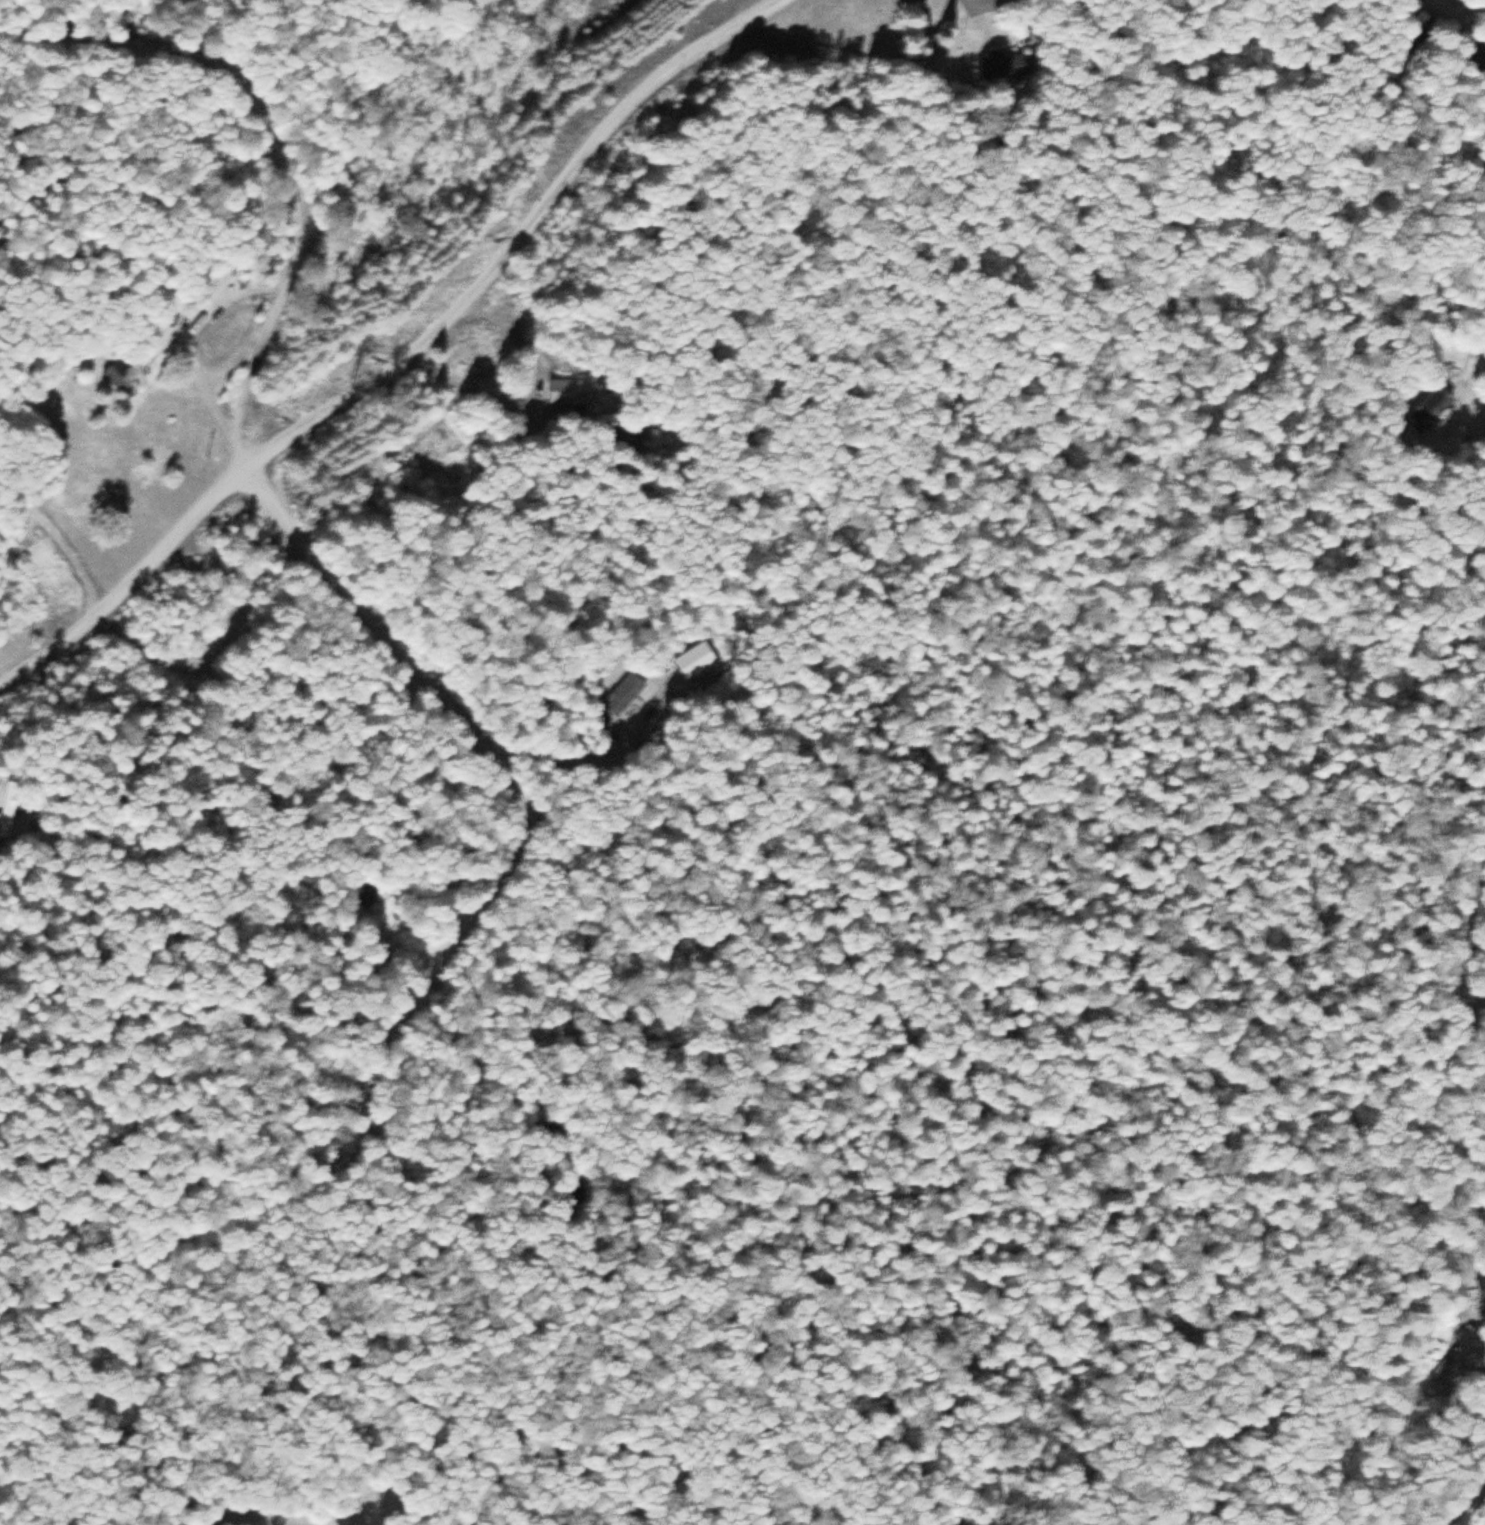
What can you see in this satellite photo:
road: (208, 34)
building: (1003, 64)
road: (282, 145)
building: (157, 335)
road: (401, 356)
building: (1449, 357)
building: (118, 376)
building: (1427, 410)
building: (630, 435)
building: (621, 694)
building: (11, 805)
building: (364, 894)
road: (1463, 949)
road: (430, 1021)
building: (1480, 1288)

